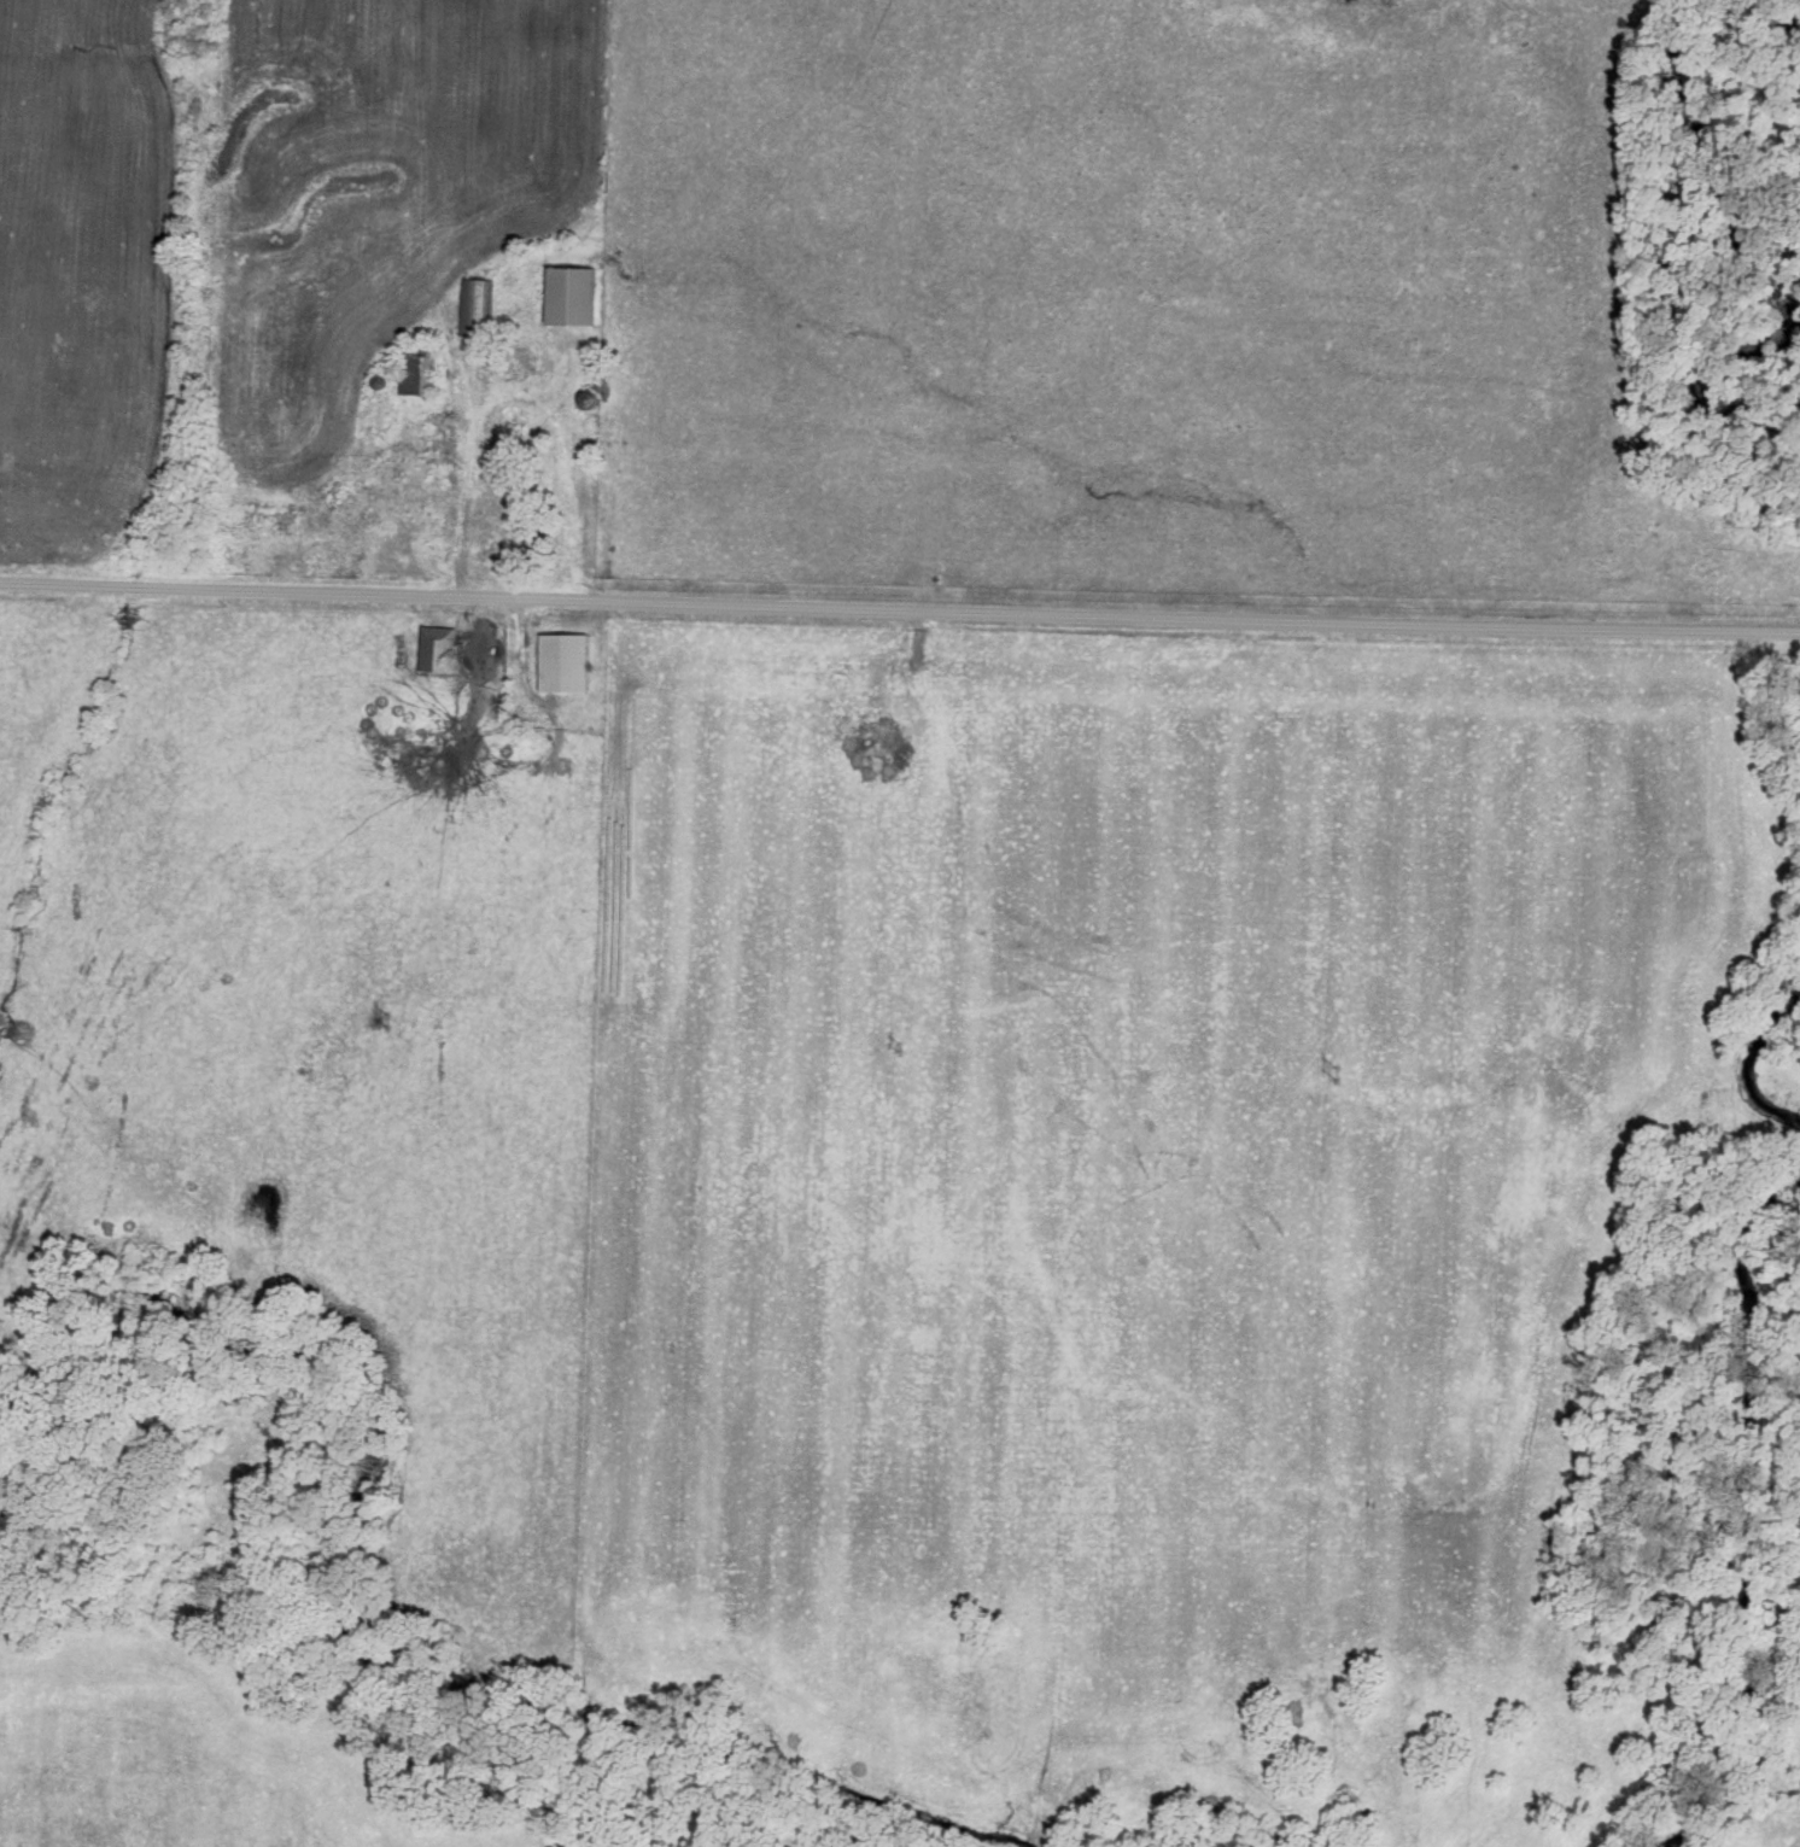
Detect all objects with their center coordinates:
building: (572, 298)
building: (474, 309)
building: (522, 361)
building: (417, 369)
building: (588, 402)
building: (332, 492)
building: (274, 519)
building: (507, 527)
road: (900, 609)
building: (436, 649)
building: (563, 662)

